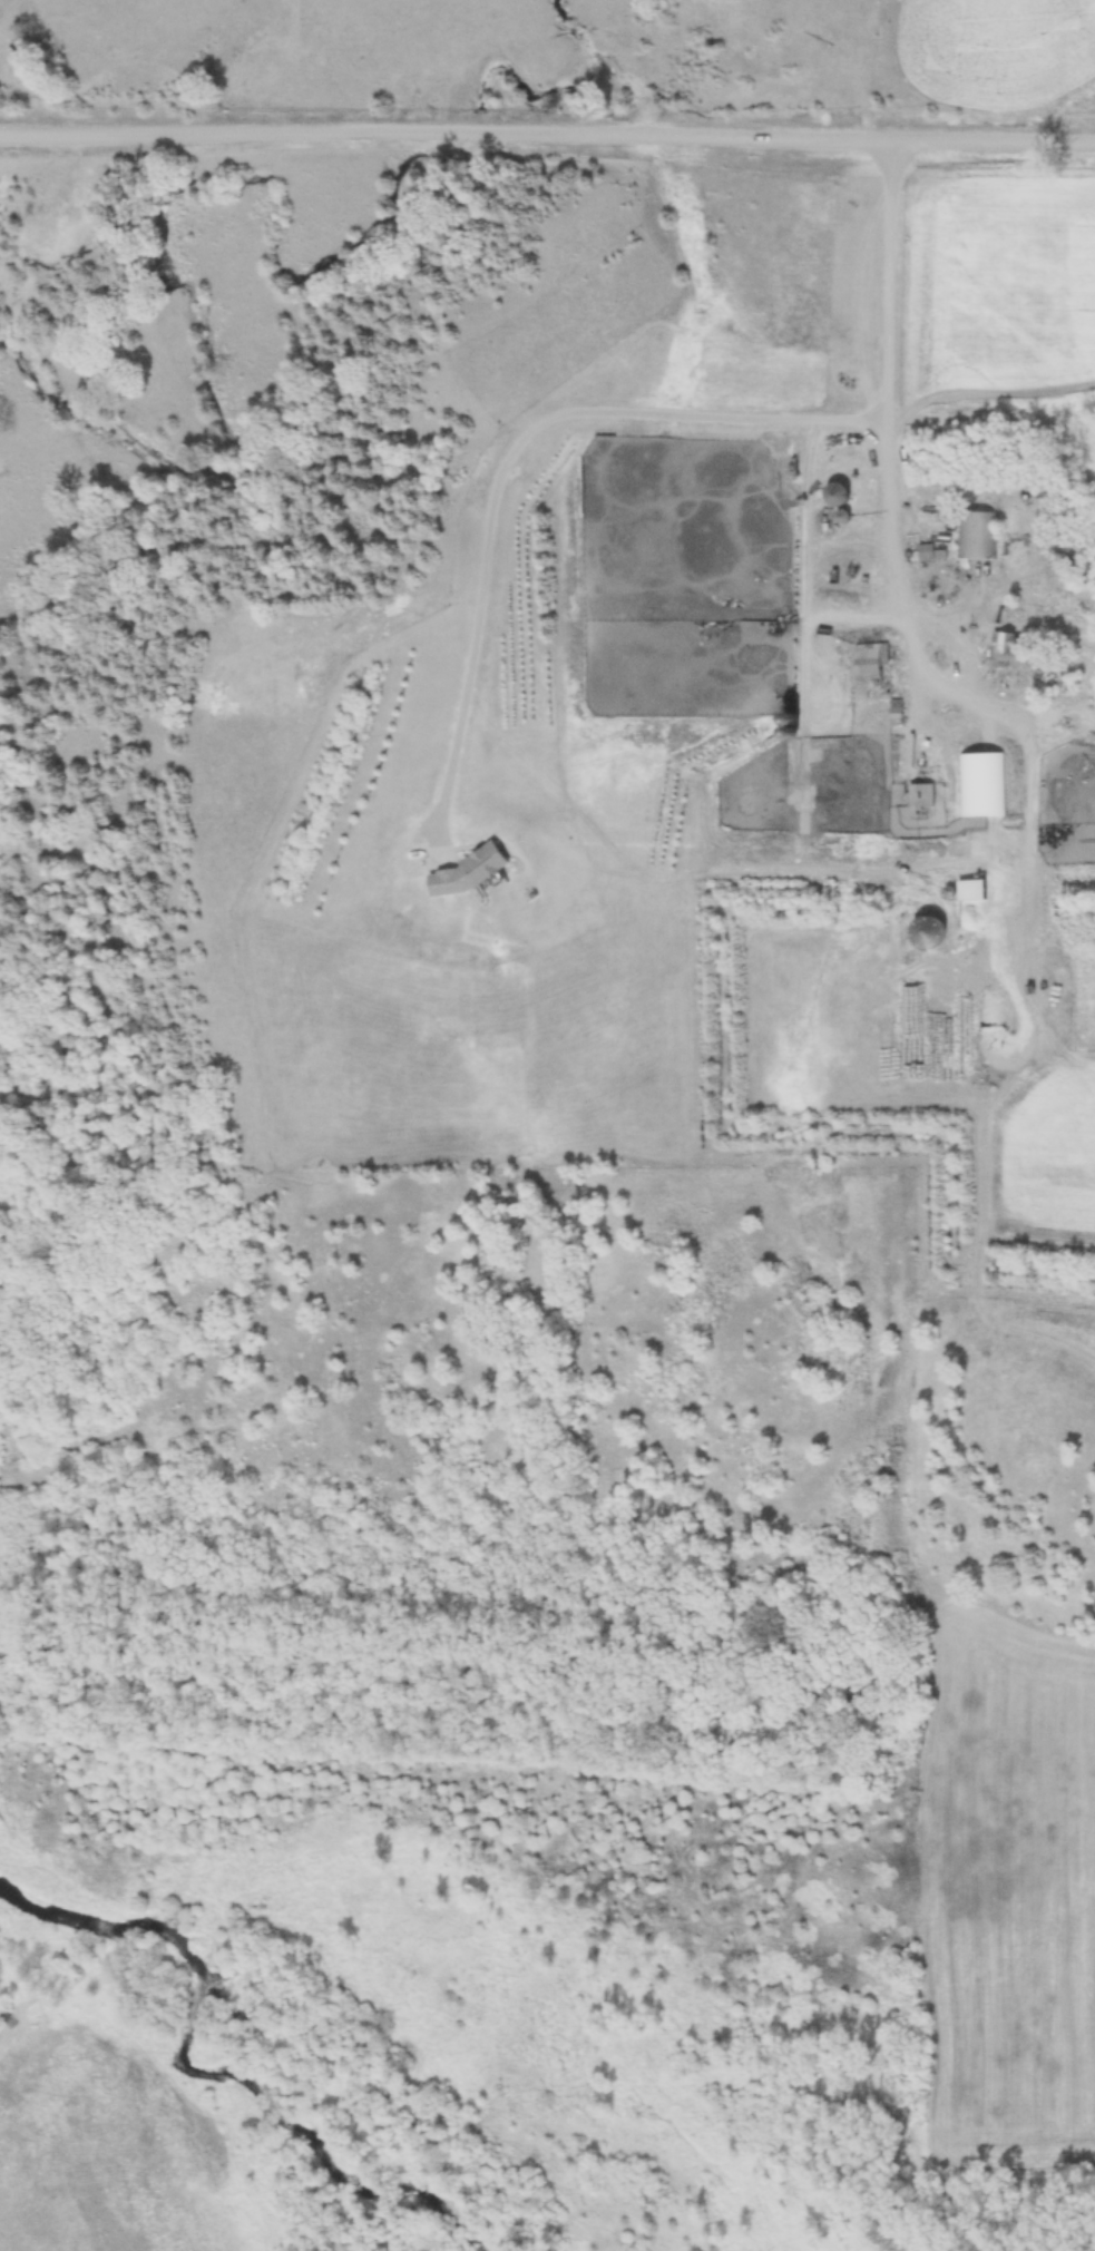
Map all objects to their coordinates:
road: (547, 125)
road: (514, 449)
road: (892, 462)
building: (837, 499)
building: (977, 537)
building: (923, 555)
road: (810, 567)
road: (862, 617)
road: (965, 648)
building: (1000, 652)
building: (870, 667)
building: (784, 727)
building: (982, 786)
building: (920, 796)
river: (205, 2055)

